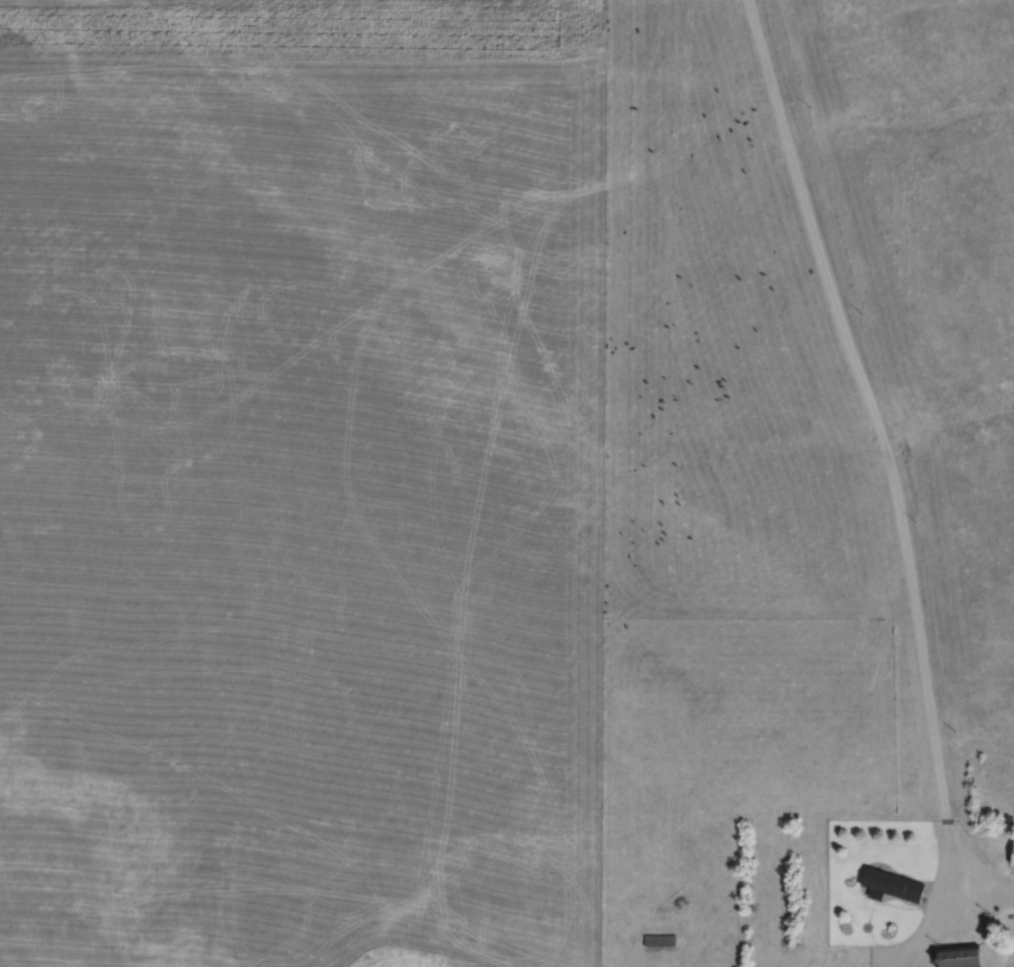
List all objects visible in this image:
road: (885, 426)
building: (888, 887)
building: (657, 942)
building: (955, 958)

